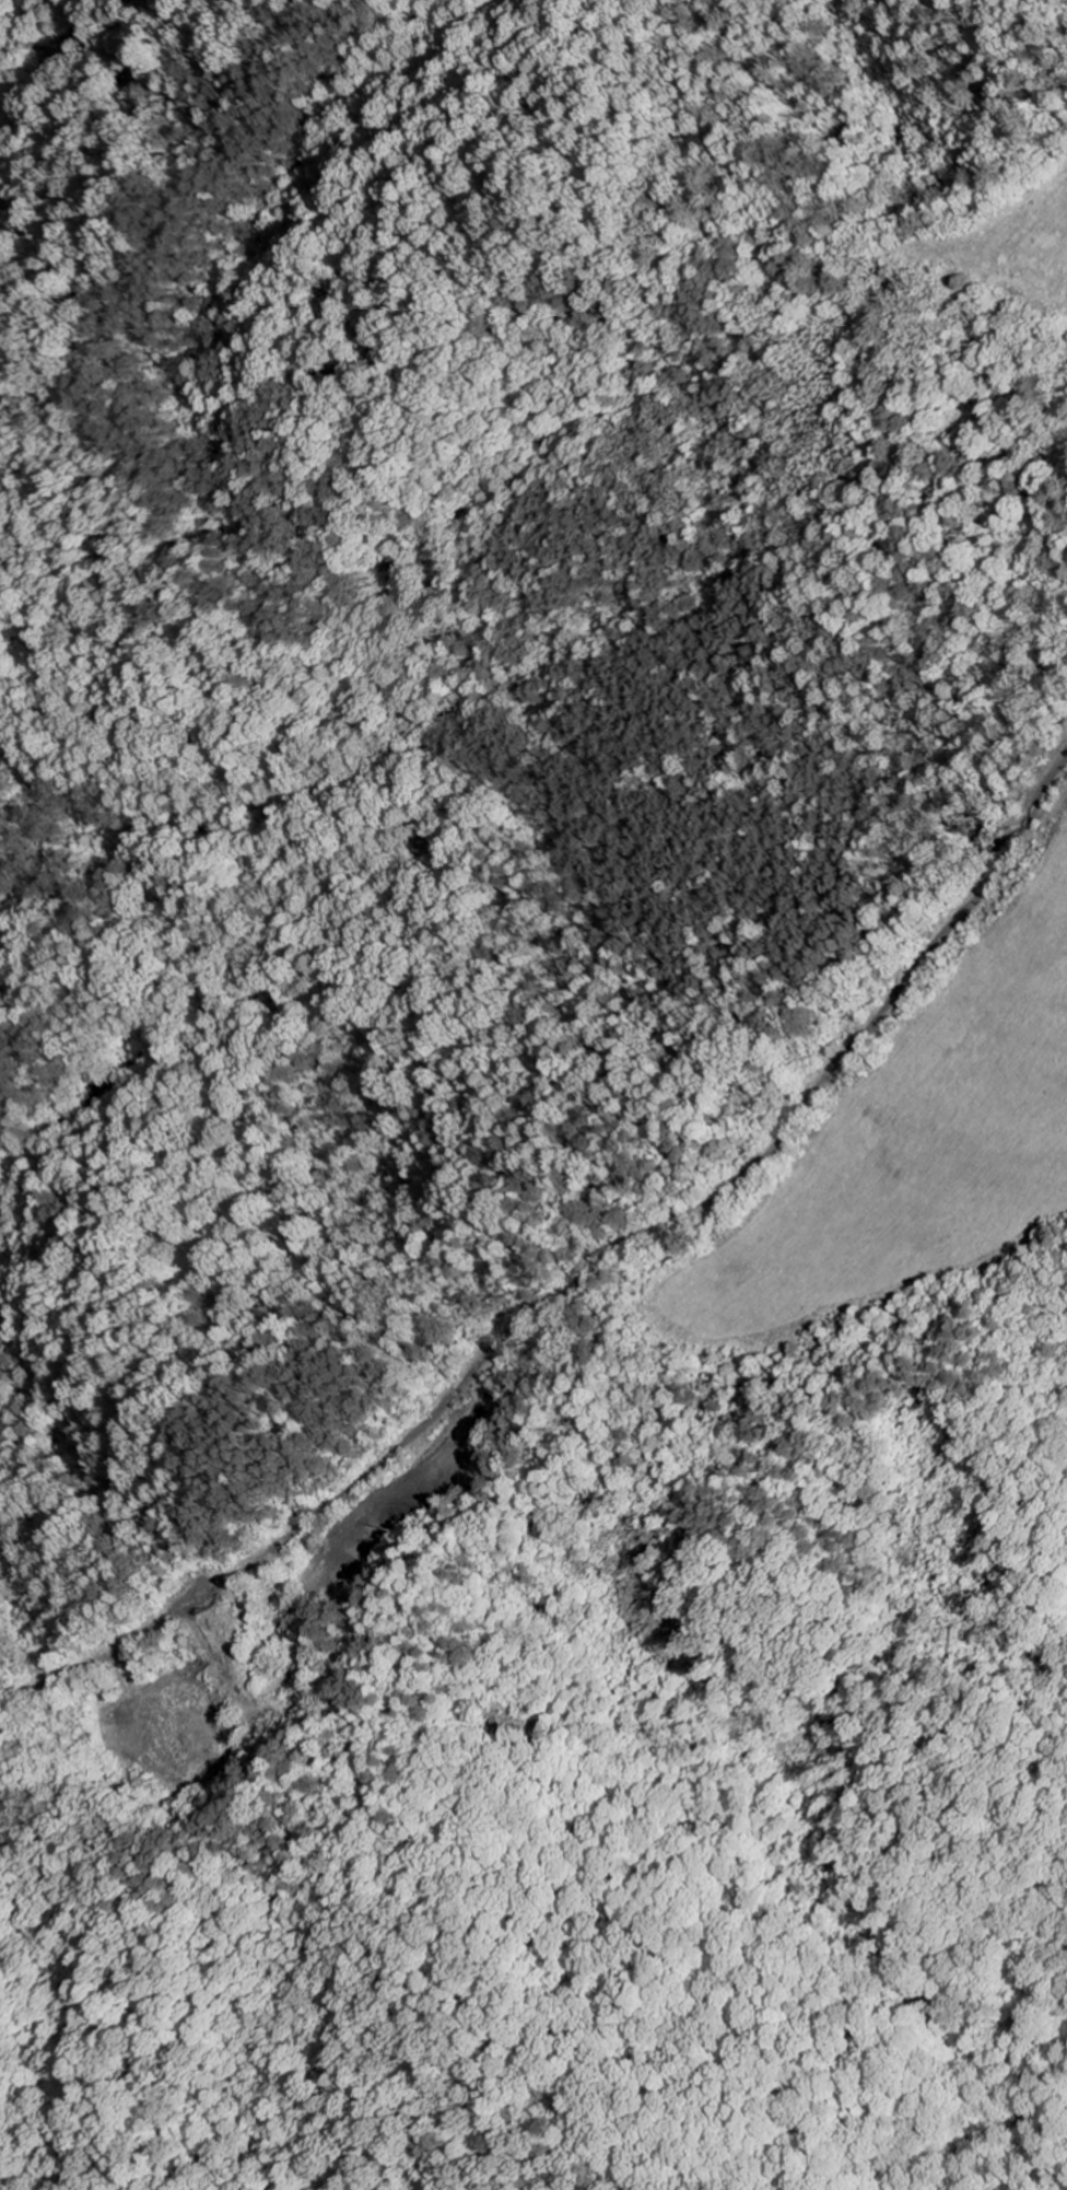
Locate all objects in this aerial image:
road: (579, 1280)

